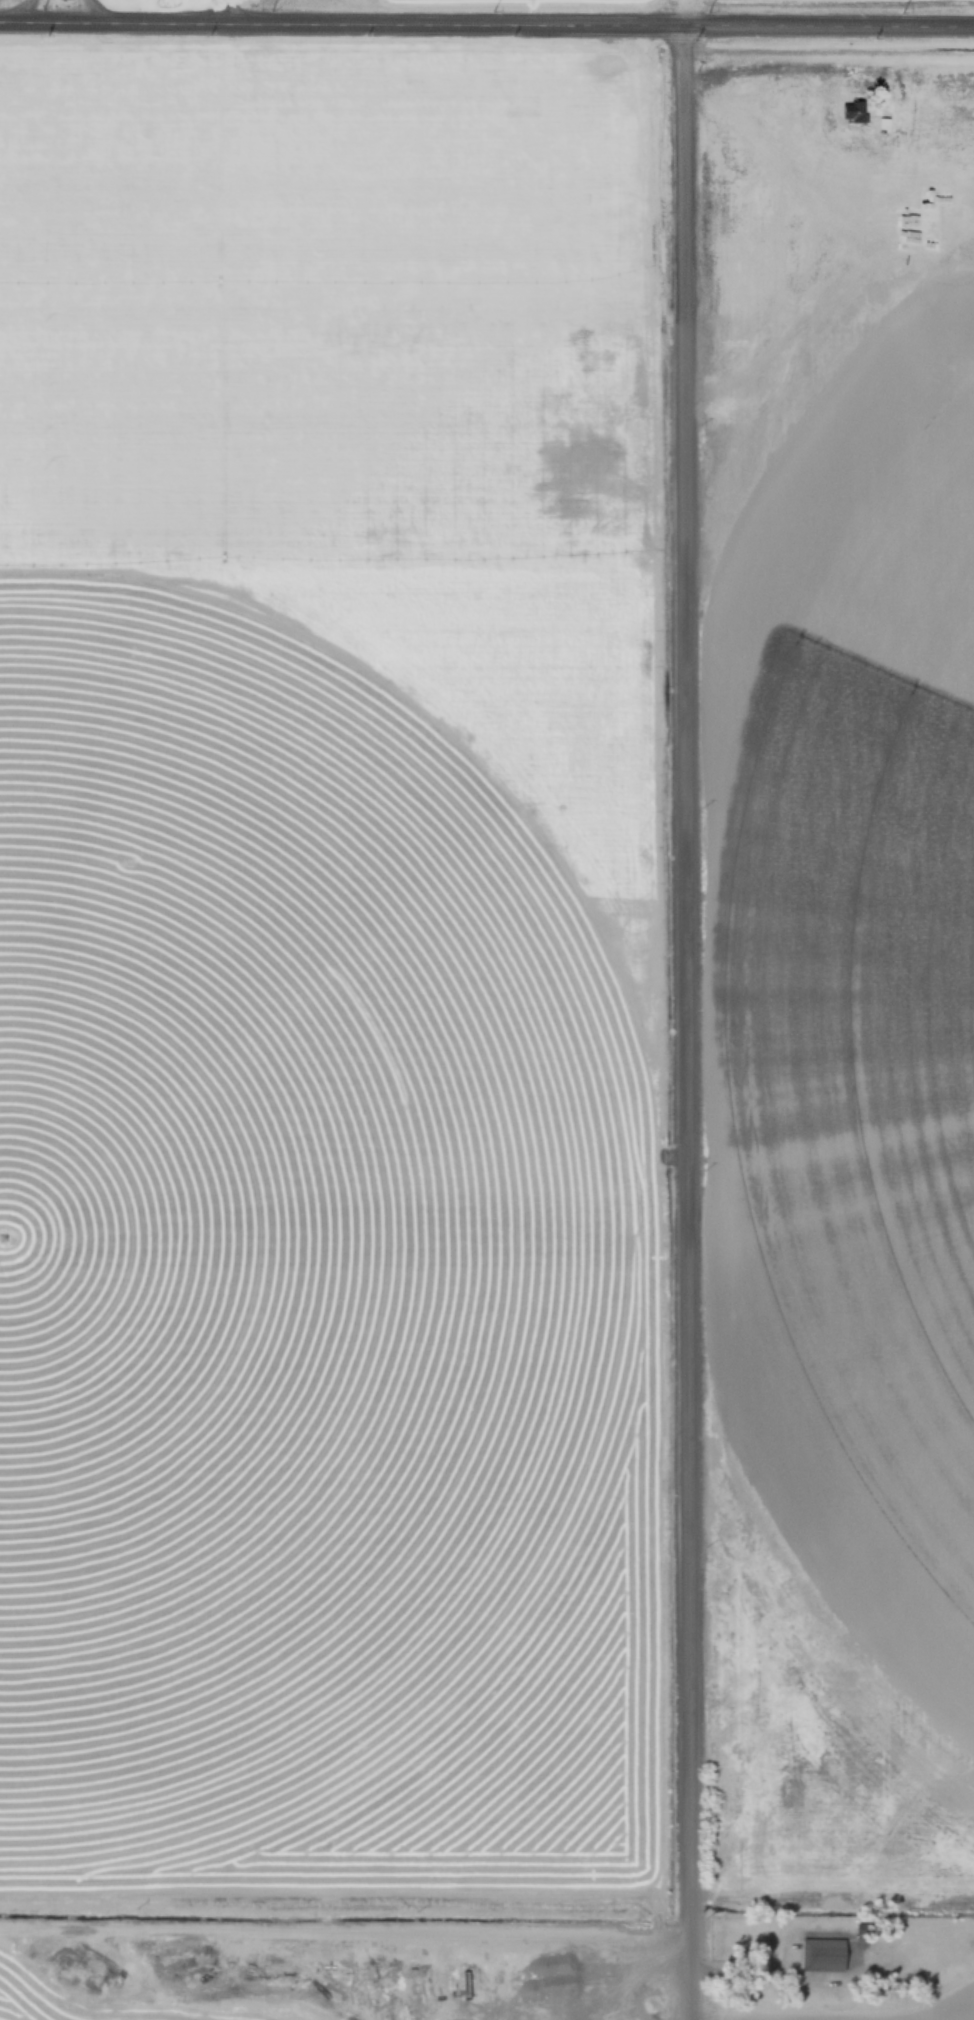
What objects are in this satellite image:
road: (486, 25)
road: (790, 67)
building: (845, 111)
building: (881, 125)
road: (685, 1023)
crop: (277, 1230)
building: (820, 1954)
crop: (56, 1997)

